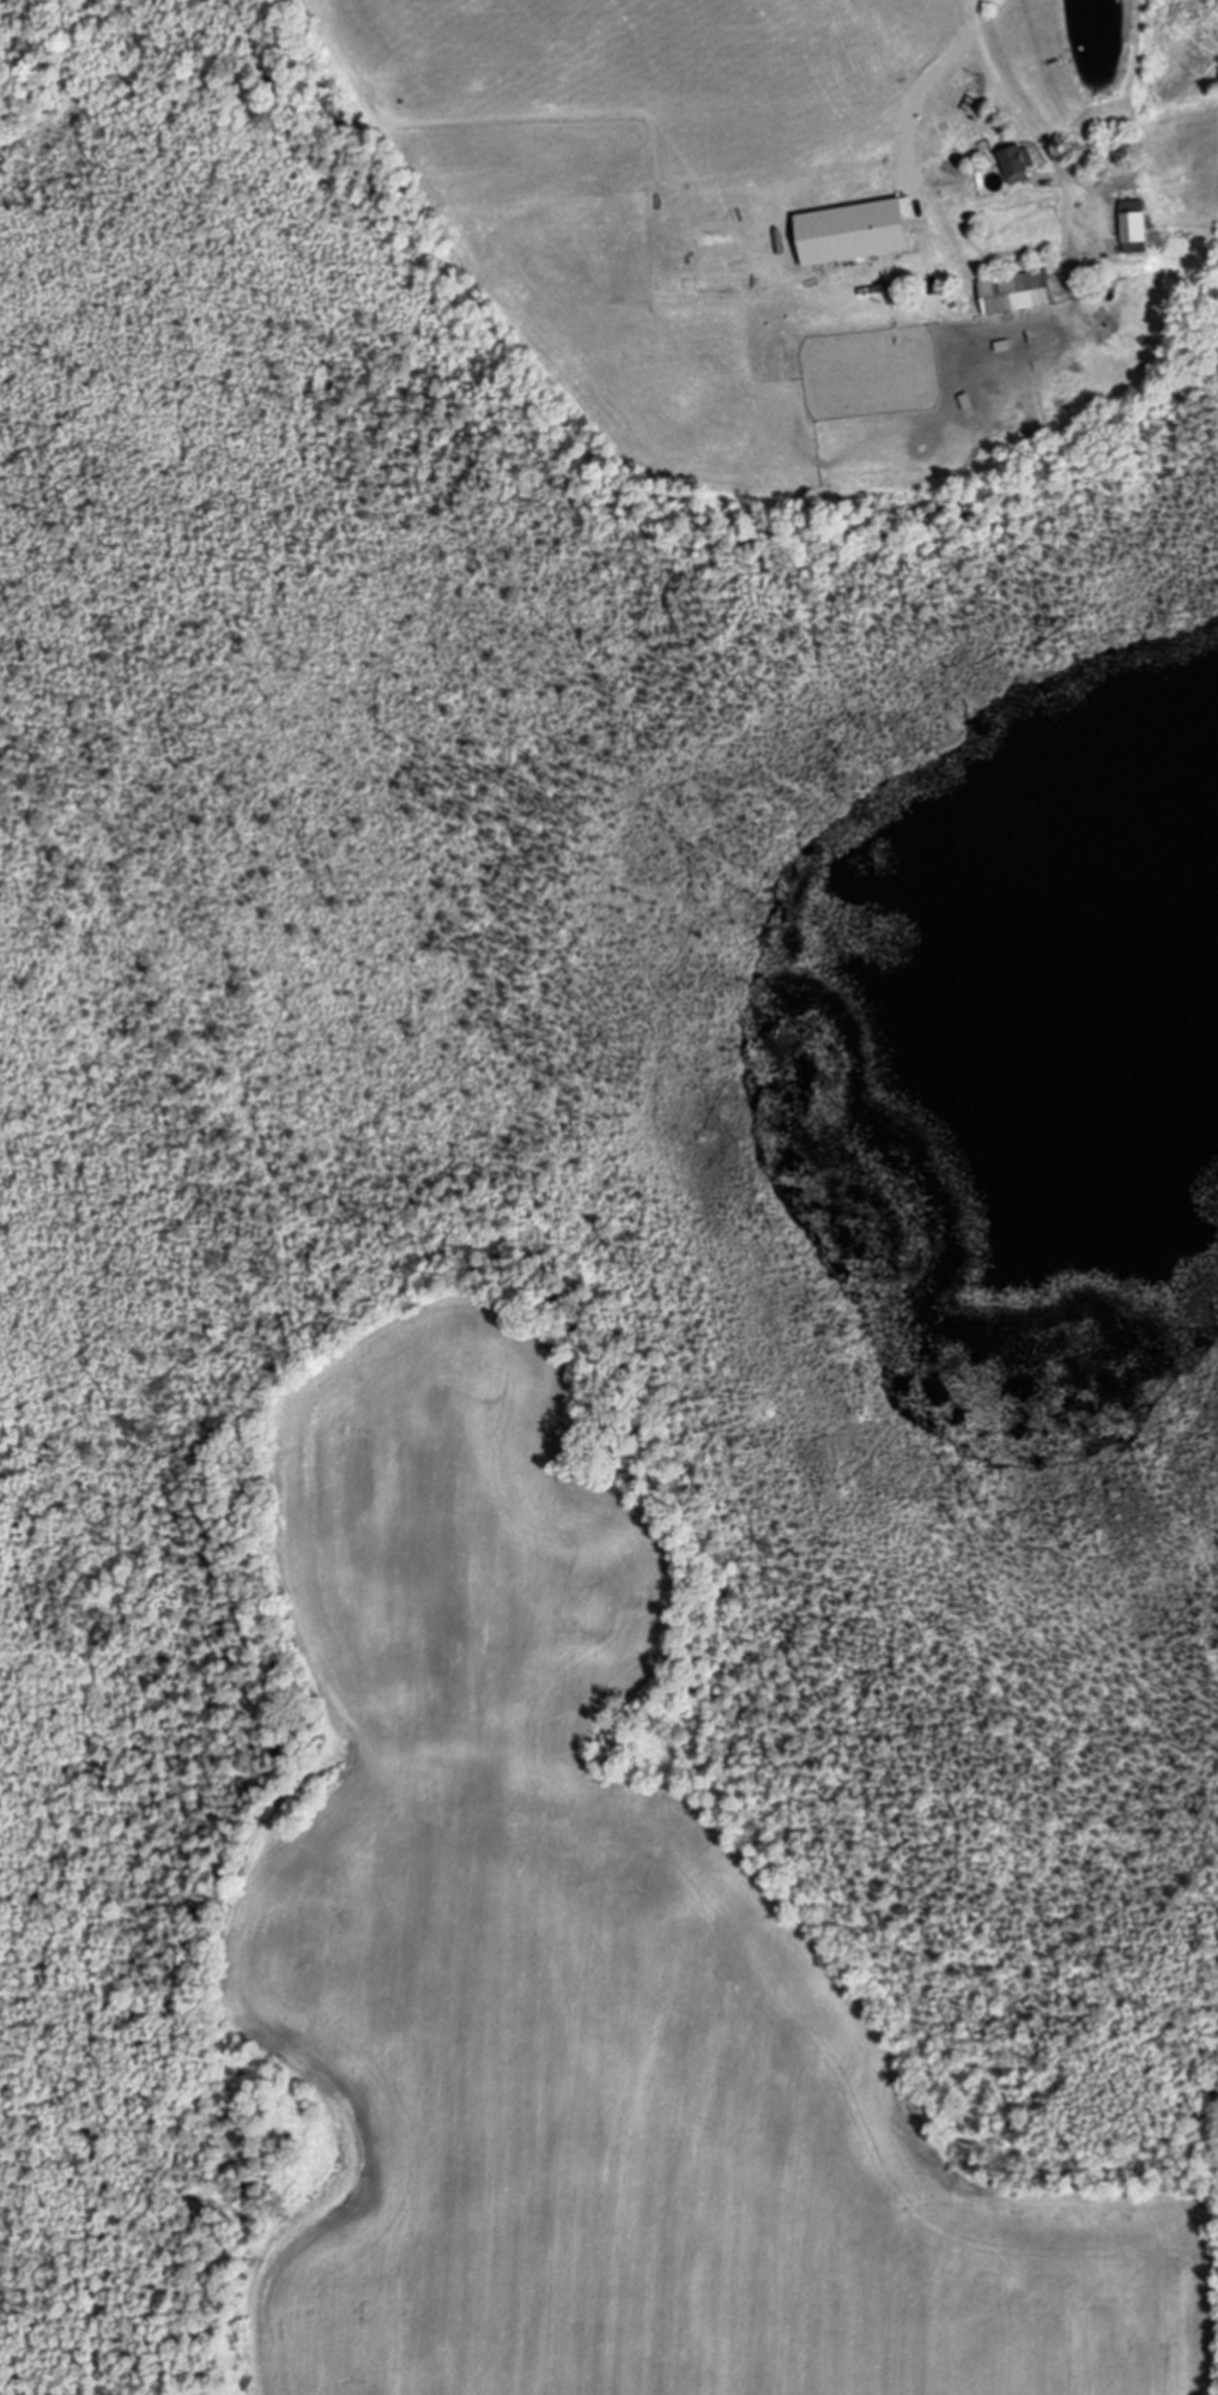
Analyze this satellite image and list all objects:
road: (1007, 90)
building: (1012, 163)
building: (1128, 225)
building: (849, 232)
road: (1096, 237)
building: (1012, 292)

